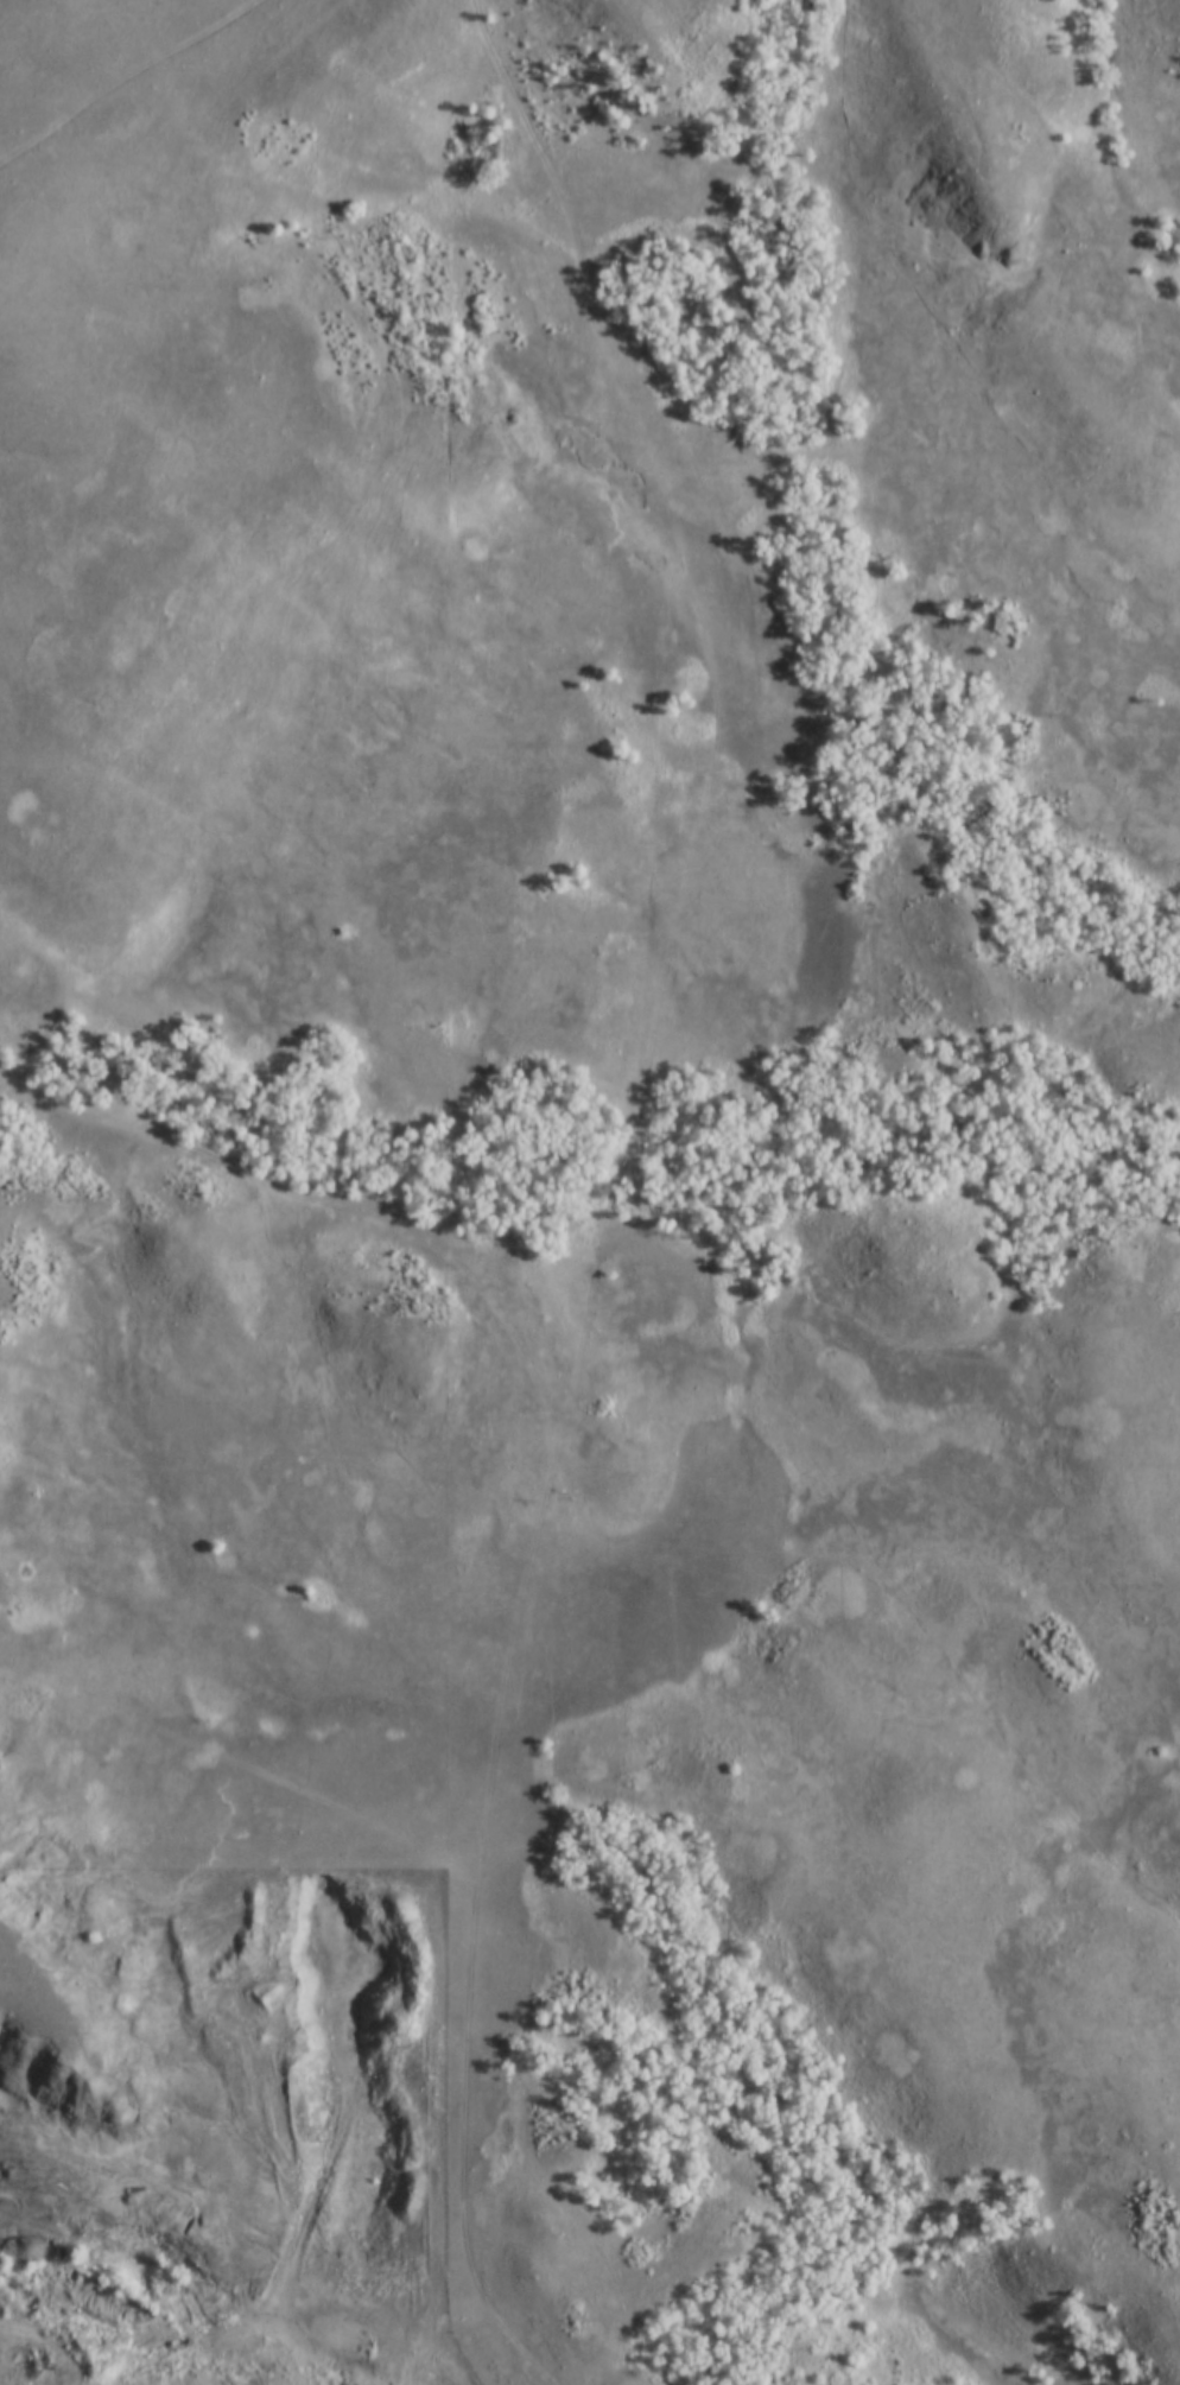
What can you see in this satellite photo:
road: (436, 2235)
quarry: (227, 2250)

